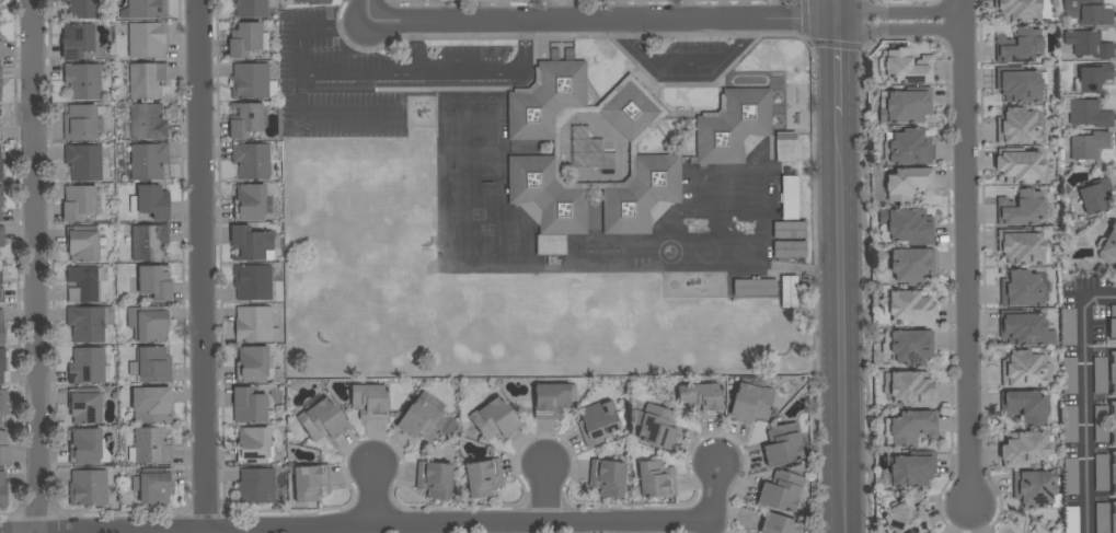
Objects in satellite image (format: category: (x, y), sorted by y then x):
building: (314, 1)
road: (902, 1)
building: (251, 8)
building: (82, 9)
building: (146, 9)
building: (1019, 10)
road: (839, 11)
road: (366, 12)
building: (1088, 12)
road: (664, 23)
road: (900, 37)
building: (147, 39)
building: (248, 39)
building: (78, 40)
building: (1088, 44)
building: (1019, 46)
building: (1, 48)
building: (905, 67)
road: (840, 68)
road: (684, 70)
road: (380, 72)
building: (0, 73)
building: (1093, 79)
building: (147, 80)
building: (83, 81)
building: (252, 82)
building: (1019, 84)
building: (0, 94)
building: (907, 106)
building: (1086, 113)
building: (245, 119)
building: (80, 123)
building: (147, 123)
building: (733, 126)
building: (1017, 127)
building: (1, 131)
building: (588, 144)
building: (1089, 146)
building: (785, 147)
building: (910, 147)
building: (146, 160)
building: (251, 160)
building: (657, 160)
building: (84, 162)
building: (1020, 165)
building: (0, 166)
building: (909, 184)
building: (1095, 195)
building: (790, 198)
building: (80, 202)
building: (150, 202)
building: (250, 202)
building: (1, 204)
building: (1021, 208)
building: (906, 227)
building: (790, 230)
building: (2, 236)
building: (149, 242)
building: (82, 243)
building: (251, 243)
building: (1108, 246)
building: (1022, 247)
building: (789, 250)
road: (966, 254)
building: (553, 265)
road: (34, 266)
road: (200, 266)
building: (912, 266)
road: (981, 271)
building: (1113, 280)
building: (154, 282)
building: (253, 282)
building: (83, 283)
building: (755, 288)
building: (1022, 289)
building: (1, 290)
building: (789, 291)
building: (911, 309)
building: (89, 323)
building: (149, 323)
road: (840, 323)
building: (1113, 323)
building: (255, 325)
building: (1, 327)
building: (1069, 327)
building: (1022, 328)
building: (908, 346)
building: (2, 364)
building: (87, 366)
building: (151, 366)
building: (254, 366)
building: (1024, 370)
building: (1113, 372)
building: (1100, 374)
building: (1069, 375)
building: (910, 389)
building: (551, 401)
building: (703, 401)
building: (370, 402)
building: (2, 403)
building: (750, 403)
road: (1085, 403)
building: (84, 405)
building: (149, 406)
building: (249, 406)
building: (1024, 406)
building: (425, 418)
building: (495, 419)
building: (322, 420)
building: (598, 422)
building: (1113, 422)
building: (1101, 424)
building: (1070, 425)
building: (657, 427)
building: (913, 427)
building: (254, 445)
building: (784, 445)
building: (85, 447)
building: (151, 447)
building: (3, 450)
building: (1024, 450)
building: (913, 470)
building: (1102, 473)
building: (1114, 474)
building: (608, 476)
building: (1071, 476)
building: (434, 478)
building: (483, 478)
building: (656, 478)
building: (311, 483)
building: (153, 485)
building: (256, 486)
building: (88, 487)
building: (1035, 488)
building: (2, 489)
road: (715, 490)
road: (547, 491)
building: (781, 491)
road: (372, 494)
building: (1114, 517)
building: (1102, 518)
building: (906, 519)
building: (1071, 519)
road: (428, 524)
building: (778, 524)
road: (955, 529)

